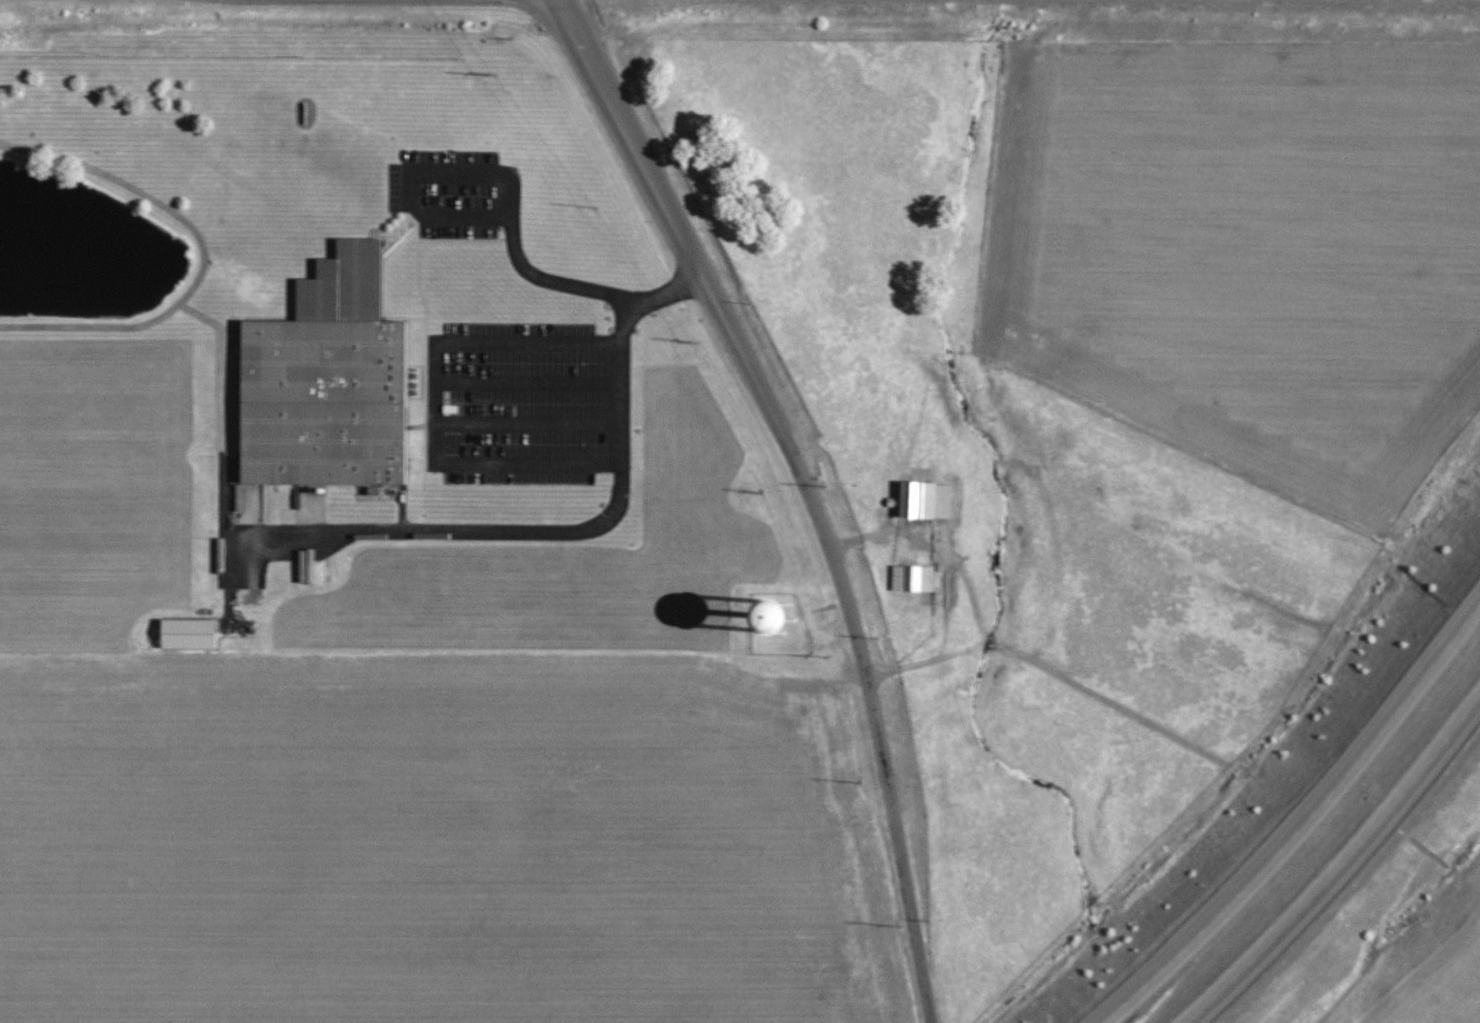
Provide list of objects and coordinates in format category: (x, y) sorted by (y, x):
road: (587, 61)
road: (404, 189)
road: (146, 192)
road: (504, 195)
road: (400, 224)
road: (463, 240)
road: (547, 281)
park: (166, 299)
road: (212, 319)
road: (97, 331)
road: (424, 340)
road: (475, 343)
road: (742, 358)
building: (338, 387)
road: (228, 399)
road: (628, 404)
road: (442, 406)
road: (628, 481)
road: (232, 501)
building: (935, 502)
building: (926, 580)
building: (759, 611)
water tower: (787, 620)
building: (200, 635)
road: (891, 813)
road: (1309, 837)
road: (1353, 880)

